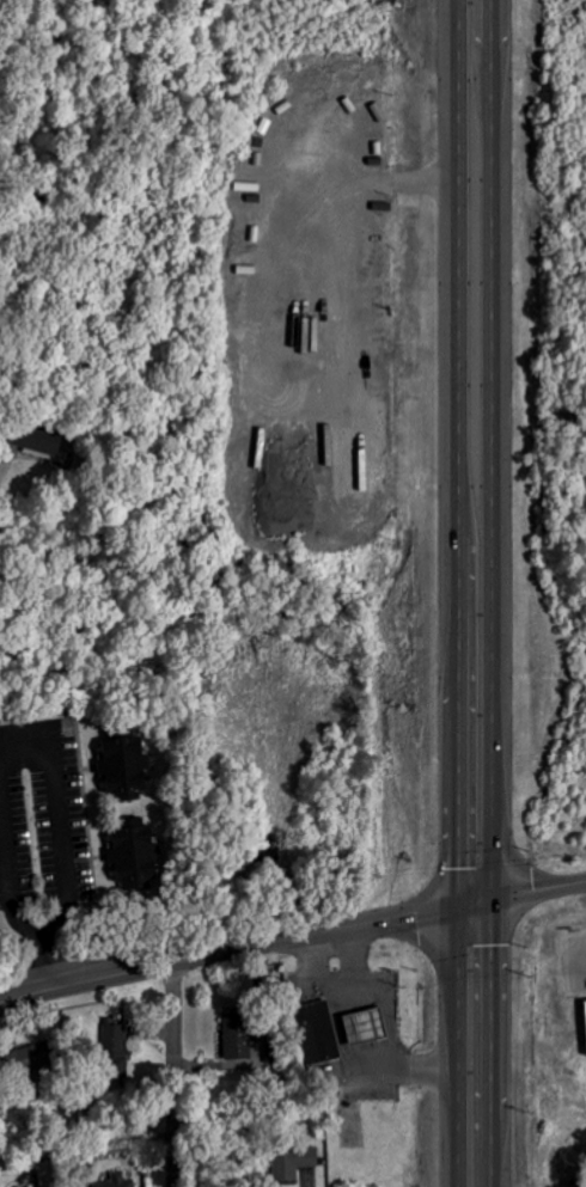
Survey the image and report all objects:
building: (376, 81)
building: (317, 140)
road: (349, 179)
building: (38, 436)
road: (2, 490)
road: (458, 593)
road: (489, 593)
building: (121, 765)
road: (62, 840)
building: (130, 855)
road: (8, 869)
road: (292, 941)
road: (310, 978)
building: (585, 1011)
building: (365, 1022)
building: (316, 1028)
building: (236, 1035)
road: (366, 1036)
building: (117, 1051)
building: (24, 1058)
road: (177, 1075)
building: (292, 1161)
building: (117, 1180)

